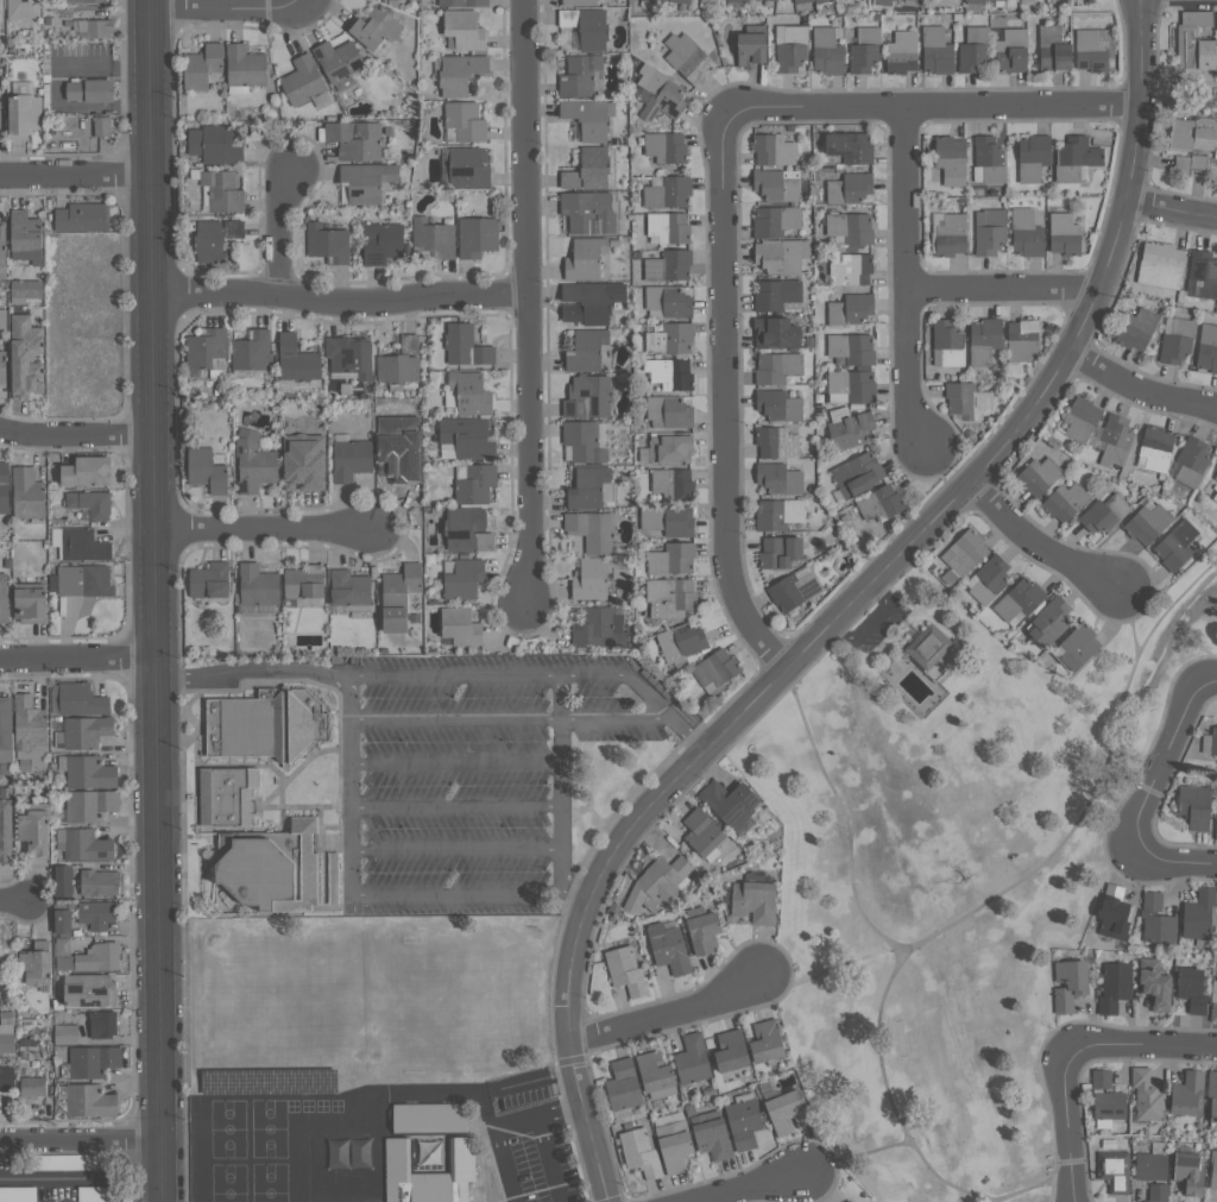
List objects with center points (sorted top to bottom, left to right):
building: (740, 0)
building: (773, 0)
building: (915, 0)
building: (953, 0)
road: (1142, 0)
building: (87, 1)
building: (673, 1)
building: (808, 1)
building: (462, 2)
building: (579, 2)
road: (304, 4)
road: (227, 8)
building: (25, 10)
building: (1, 12)
building: (1216, 20)
building: (93, 26)
building: (588, 26)
building: (377, 27)
building: (465, 30)
building: (1197, 43)
building: (792, 46)
building: (940, 46)
building: (756, 49)
building: (975, 49)
building: (1055, 49)
building: (1096, 49)
building: (828, 50)
building: (866, 50)
building: (1013, 51)
road: (1136, 51)
road: (1147, 51)
building: (903, 52)
building: (689, 58)
building: (341, 62)
building: (246, 65)
building: (203, 67)
building: (461, 73)
building: (580, 75)
building: (304, 80)
building: (93, 90)
building: (662, 94)
road: (934, 106)
building: (25, 111)
building: (591, 118)
building: (466, 121)
building: (101, 126)
building: (1194, 134)
building: (357, 139)
building: (216, 144)
building: (852, 146)
building: (667, 147)
building: (775, 150)
building: (1216, 152)
building: (1034, 157)
building: (1077, 158)
building: (952, 159)
building: (989, 159)
building: (1192, 163)
building: (469, 168)
building: (591, 169)
road: (76, 174)
building: (367, 181)
building: (778, 184)
building: (850, 188)
building: (221, 189)
building: (669, 191)
road: (902, 197)
road: (1172, 209)
building: (589, 212)
building: (83, 216)
building: (776, 220)
building: (669, 227)
building: (851, 227)
building: (991, 231)
building: (1028, 233)
building: (953, 234)
building: (1066, 234)
building: (27, 237)
building: (434, 237)
building: (478, 237)
building: (216, 238)
road: (283, 238)
building: (328, 243)
building: (383, 243)
building: (4, 251)
building: (783, 254)
building: (587, 259)
building: (670, 265)
building: (1162, 265)
building: (852, 269)
building: (1204, 272)
building: (26, 290)
road: (1002, 290)
road: (339, 295)
building: (778, 295)
road: (525, 298)
building: (592, 301)
building: (668, 301)
building: (852, 309)
building: (2, 319)
building: (1139, 328)
building: (778, 332)
building: (1024, 338)
building: (673, 339)
building: (985, 340)
building: (1179, 340)
building: (948, 344)
building: (467, 346)
building: (1207, 347)
building: (853, 348)
building: (207, 350)
building: (587, 350)
building: (253, 351)
building: (29, 357)
building: (352, 357)
building: (298, 360)
building: (402, 365)
building: (778, 367)
building: (5, 369)
road: (903, 370)
building: (671, 373)
building: (296, 385)
building: (852, 386)
road: (1139, 389)
building: (468, 394)
building: (589, 397)
road: (724, 399)
building: (969, 399)
building: (780, 405)
building: (670, 411)
building: (1083, 419)
building: (851, 427)
road: (76, 434)
building: (467, 439)
building: (1116, 440)
building: (585, 441)
building: (778, 442)
building: (402, 445)
building: (673, 448)
building: (1155, 448)
building: (351, 458)
building: (1193, 460)
building: (256, 462)
building: (307, 462)
building: (207, 470)
building: (90, 471)
building: (858, 474)
building: (1040, 476)
building: (1216, 477)
building: (781, 478)
building: (474, 483)
building: (675, 484)
building: (5, 487)
building: (591, 487)
building: (26, 493)
building: (1215, 496)
building: (1066, 502)
building: (92, 503)
building: (882, 503)
building: (1105, 512)
building: (780, 514)
building: (670, 520)
building: (1148, 523)
road: (261, 529)
building: (468, 529)
building: (593, 530)
road: (1036, 543)
building: (80, 545)
building: (1178, 546)
building: (782, 552)
building: (964, 554)
building: (674, 559)
building: (599, 577)
building: (464, 578)
building: (989, 579)
building: (83, 580)
building: (212, 580)
building: (259, 585)
building: (307, 585)
building: (794, 589)
building: (352, 590)
building: (401, 596)
building: (671, 597)
building: (4, 598)
building: (1020, 599)
road: (156, 600)
building: (33, 605)
building: (1052, 621)
road: (1129, 622)
building: (460, 627)
building: (599, 628)
road: (877, 630)
building: (681, 642)
road: (812, 643)
building: (932, 647)
building: (1077, 647)
road: (78, 657)
building: (714, 668)
road: (251, 672)
road: (516, 674)
road: (1210, 678)
building: (80, 699)
road: (613, 717)
road: (452, 719)
building: (27, 723)
building: (265, 724)
building: (6, 729)
building: (86, 731)
road: (686, 732)
building: (1215, 741)
road: (454, 762)
road: (1167, 763)
building: (0, 772)
building: (88, 773)
road: (1130, 782)
road: (351, 785)
building: (226, 795)
building: (729, 803)
road: (455, 804)
building: (89, 805)
building: (1193, 806)
road: (845, 818)
road: (560, 820)
building: (1216, 820)
building: (7, 824)
building: (701, 832)
building: (33, 833)
building: (83, 844)
road: (455, 847)
road: (1174, 855)
building: (272, 869)
park: (953, 869)
building: (333, 877)
building: (62, 881)
building: (656, 881)
building: (99, 882)
road: (456, 893)
road: (13, 901)
building: (753, 901)
road: (990, 901)
building: (1115, 913)
building: (95, 914)
building: (1198, 914)
building: (1156, 920)
building: (62, 921)
building: (704, 932)
building: (668, 946)
building: (86, 956)
building: (34, 964)
building: (625, 970)
road: (832, 971)
building: (1068, 984)
building: (1154, 984)
building: (1114, 986)
building: (1215, 986)
building: (1191, 989)
building: (89, 990)
building: (1215, 1008)
road: (667, 1011)
building: (102, 1025)
building: (6, 1036)
building: (765, 1041)
road: (1141, 1050)
building: (731, 1051)
building: (692, 1059)
building: (92, 1061)
building: (655, 1076)
building: (8, 1078)
building: (1101, 1080)
building: (32, 1087)
building: (623, 1088)
building: (1187, 1094)
building: (1146, 1095)
building: (1213, 1096)
building: (89, 1101)
building: (1109, 1105)
building: (784, 1110)
building: (428, 1118)
building: (743, 1121)
road: (502, 1126)
road: (1070, 1127)
building: (711, 1135)
road: (81, 1140)
building: (674, 1146)
building: (639, 1151)
building: (348, 1153)
road: (857, 1156)
road: (548, 1159)
building: (1215, 1169)
building: (1114, 1170)
building: (1153, 1171)
building: (428, 1173)
building: (1188, 1173)
road: (58, 1181)
road: (1038, 1188)
road: (761, 1189)
building: (851, 1201)

